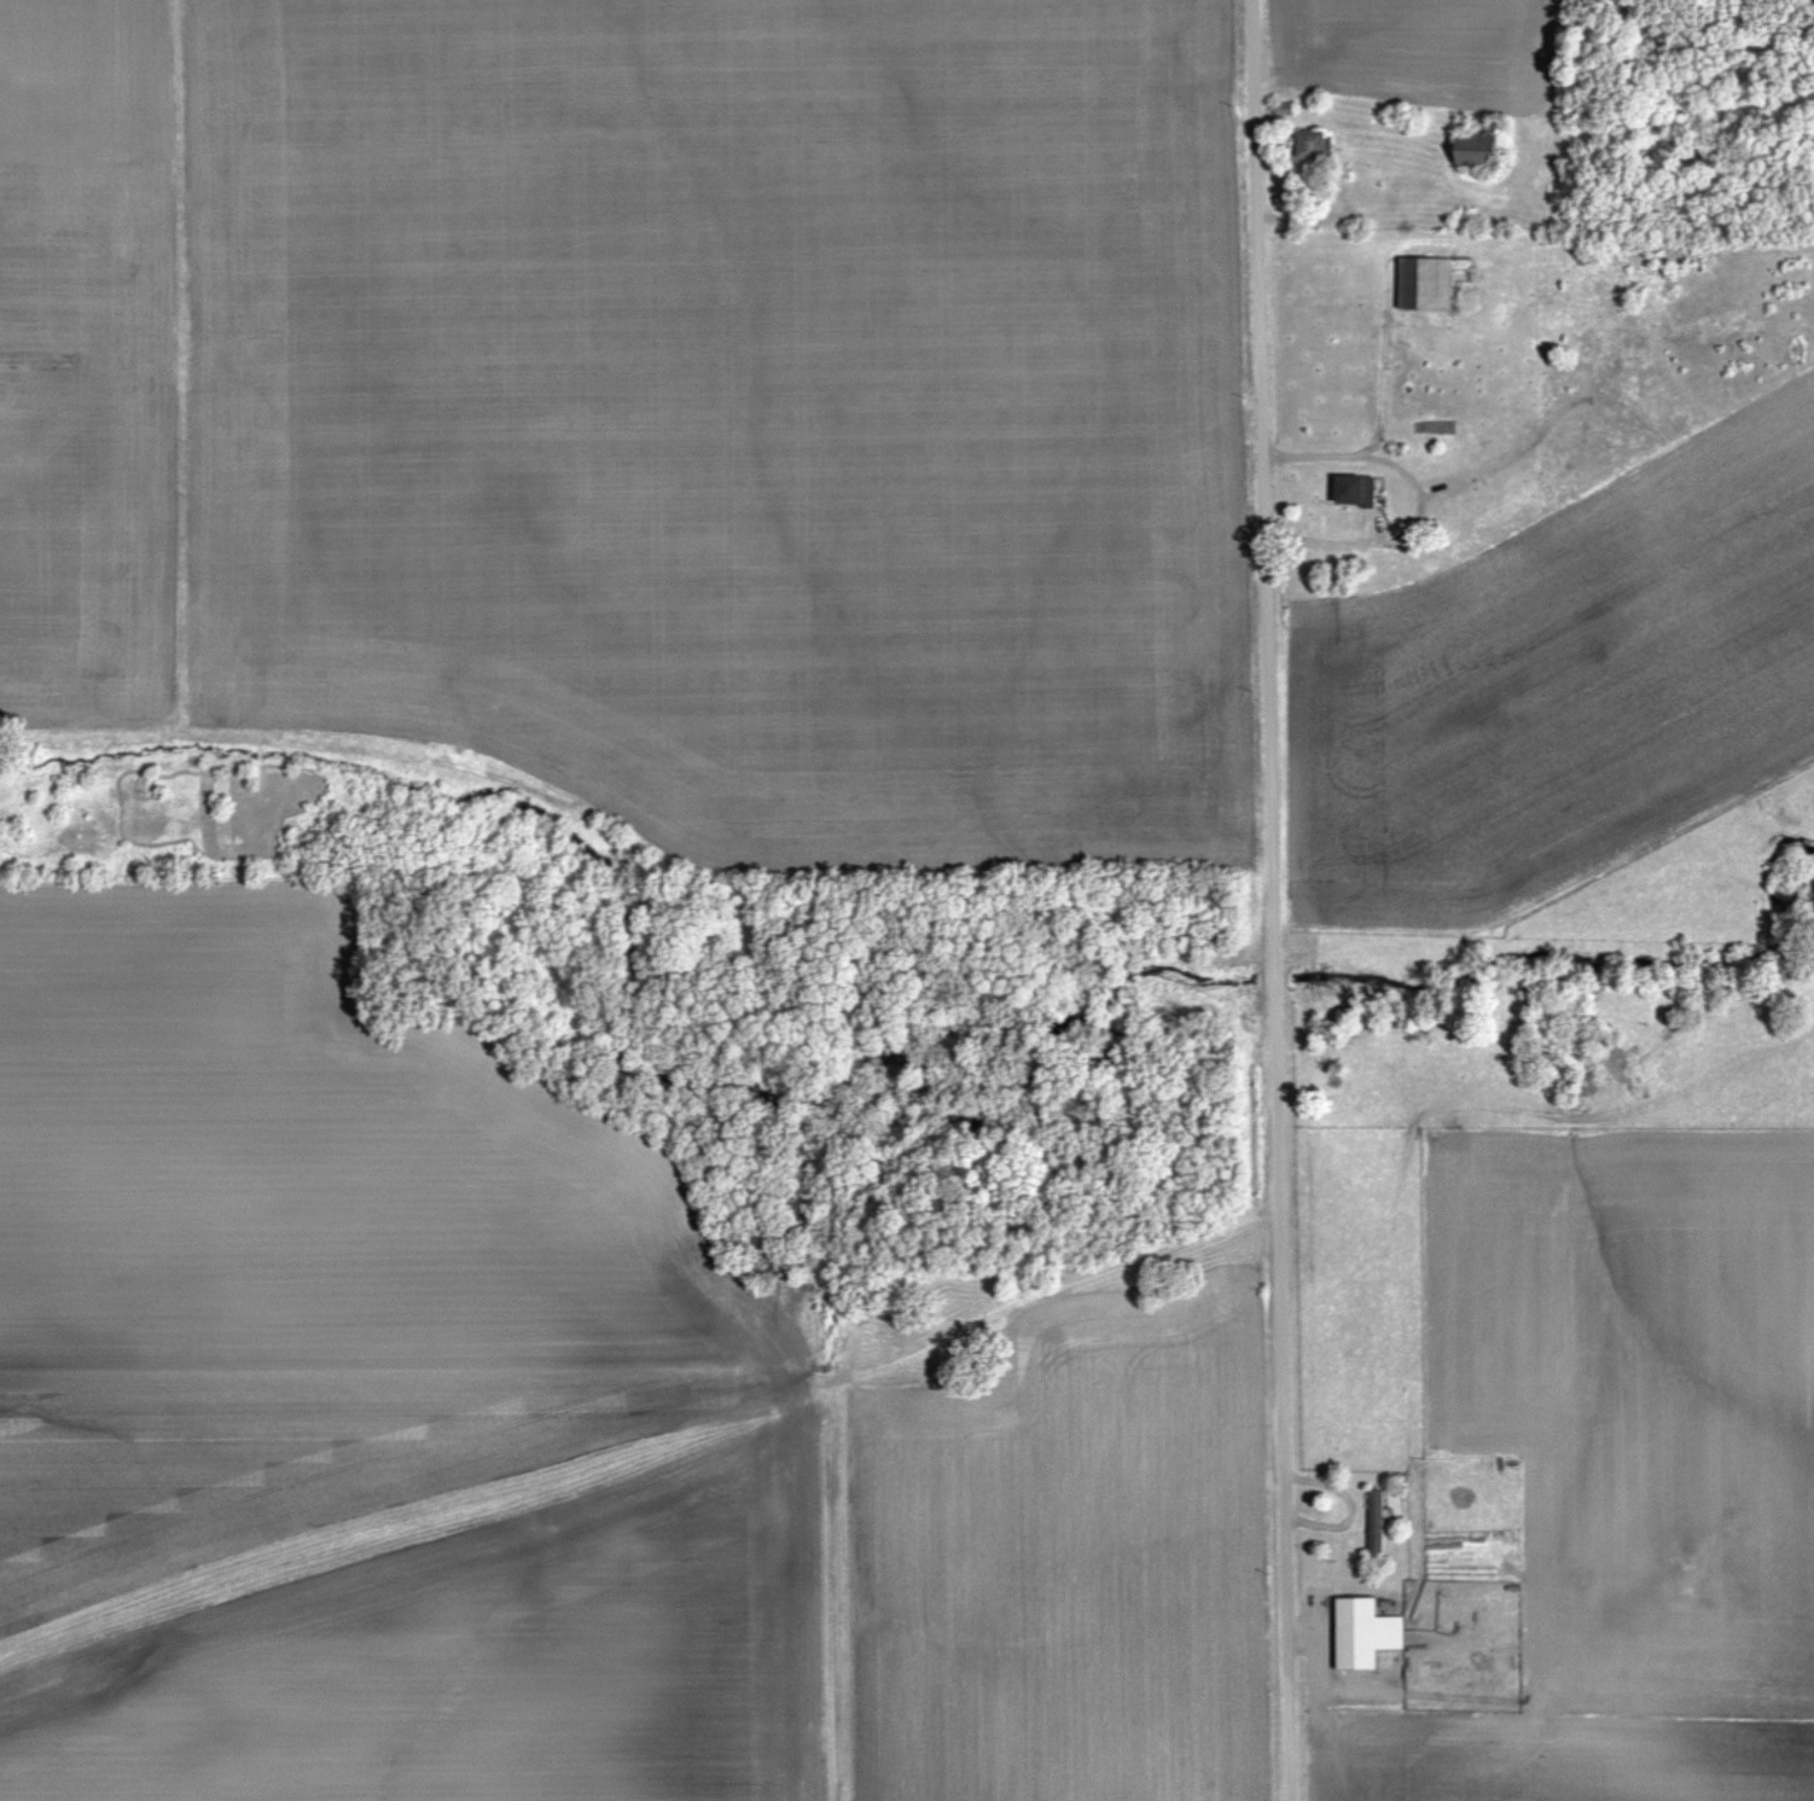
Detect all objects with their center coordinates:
building: (1319, 145)
building: (1485, 149)
building: (1431, 284)
building: (1362, 492)
road: (1275, 900)
building: (1382, 1522)
building: (1371, 1636)

